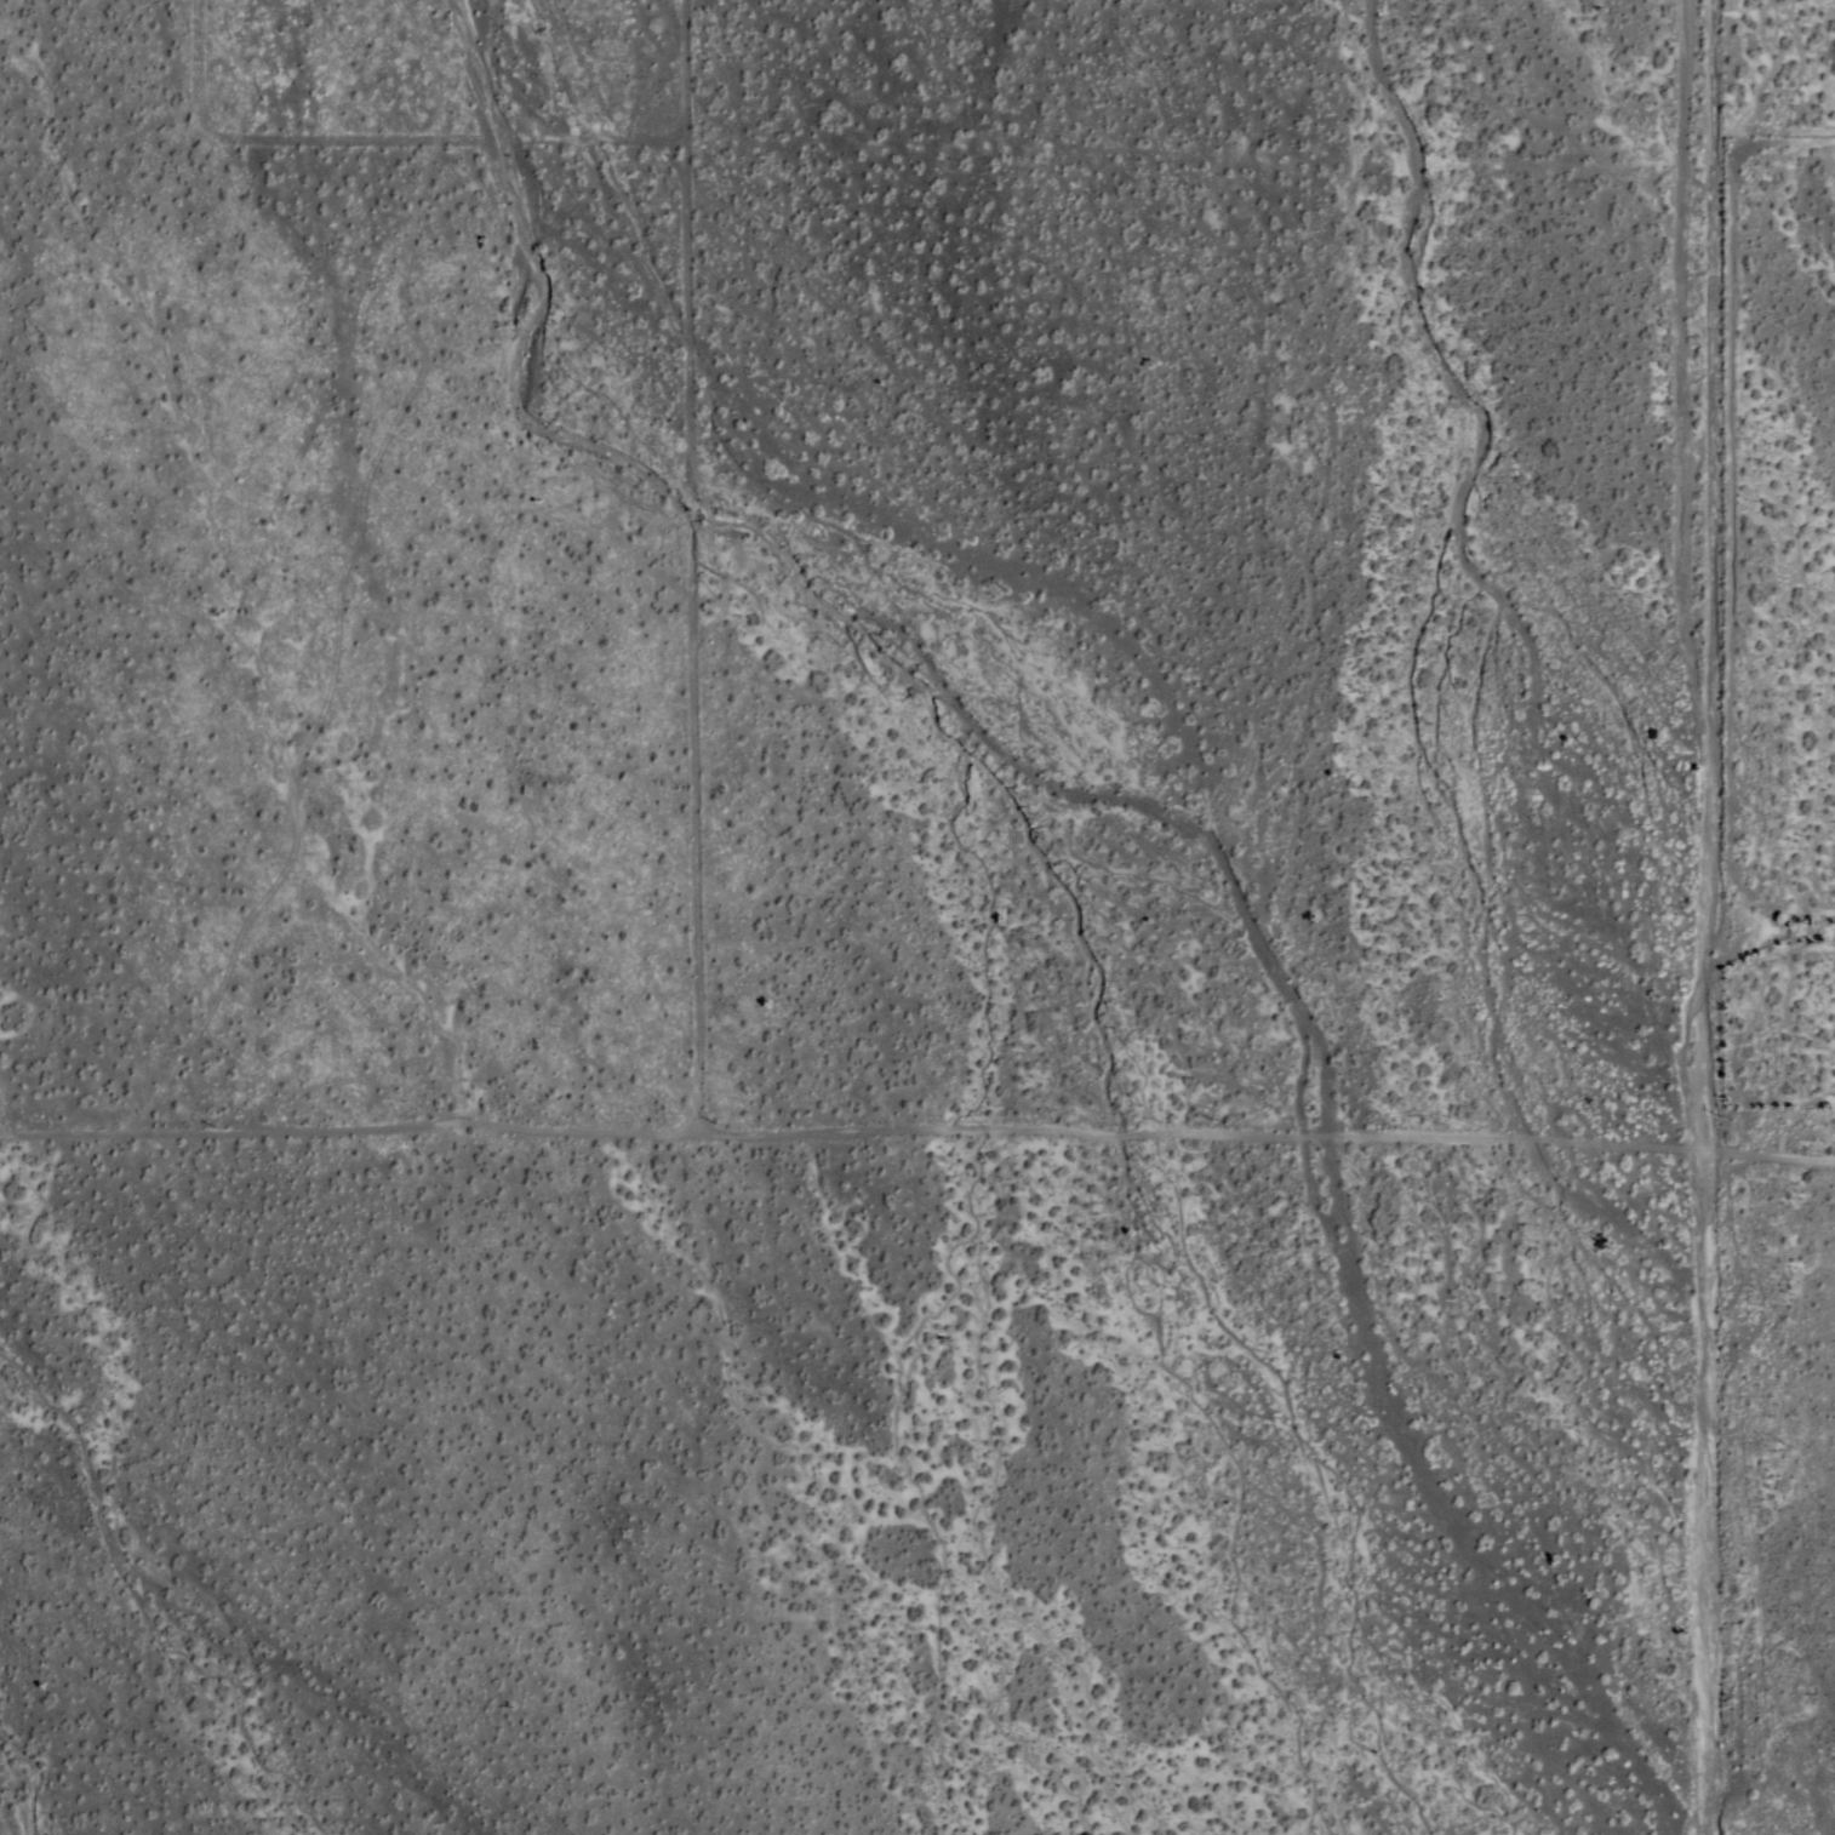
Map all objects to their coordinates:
road: (1774, 131)
road: (1714, 917)
road: (1774, 931)
road: (1772, 1154)

